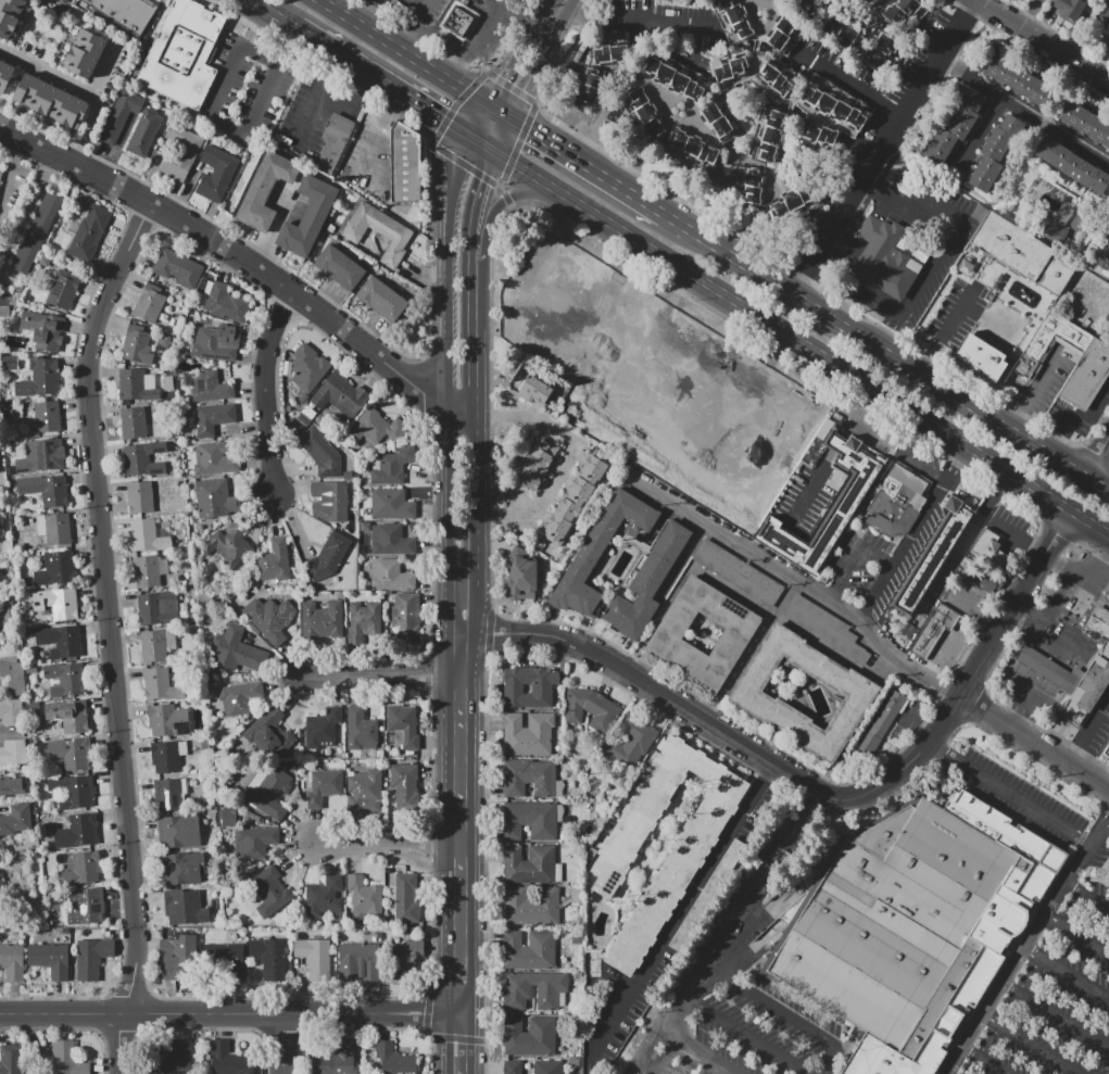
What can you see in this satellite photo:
road: (496, 3)
road: (556, 3)
road: (563, 3)
building: (806, 3)
building: (869, 3)
building: (1068, 9)
building: (1105, 10)
road: (363, 11)
building: (126, 12)
building: (903, 14)
building: (10, 15)
road: (269, 15)
road: (553, 20)
building: (730, 20)
building: (459, 21)
road: (489, 21)
road: (409, 23)
road: (653, 26)
road: (367, 28)
road: (433, 28)
building: (781, 30)
building: (840, 31)
building: (1107, 33)
road: (1045, 39)
road: (585, 41)
building: (609, 49)
building: (882, 51)
building: (181, 52)
building: (87, 54)
road: (345, 62)
road: (509, 62)
building: (730, 65)
building: (5, 74)
traffic signals: (501, 76)
building: (672, 76)
building: (778, 76)
building: (1015, 76)
road: (533, 77)
road: (853, 84)
building: (589, 86)
road: (85, 88)
road: (462, 88)
road: (315, 98)
building: (54, 102)
building: (834, 102)
road: (1026, 105)
building: (642, 112)
road: (428, 113)
building: (965, 113)
building: (119, 114)
building: (718, 118)
road: (224, 119)
building: (1086, 121)
traffic signals: (441, 122)
traffic signals: (529, 130)
building: (143, 132)
building: (819, 132)
building: (769, 134)
road: (980, 134)
road: (501, 136)
road: (371, 140)
building: (333, 142)
road: (884, 143)
building: (999, 143)
building: (941, 146)
road: (556, 147)
building: (692, 150)
building: (180, 152)
building: (405, 164)
building: (1072, 164)
road: (454, 169)
road: (520, 169)
building: (216, 174)
building: (986, 174)
building: (1, 177)
traffic signals: (483, 181)
building: (749, 184)
building: (266, 188)
road: (633, 193)
road: (506, 197)
building: (792, 202)
road: (476, 205)
building: (308, 216)
road: (141, 222)
building: (1049, 229)
building: (37, 231)
building: (377, 231)
building: (88, 232)
road: (940, 250)
building: (1101, 252)
road: (234, 253)
building: (1015, 254)
building: (885, 258)
building: (177, 267)
building: (340, 267)
building: (63, 289)
road: (474, 292)
road: (2, 299)
building: (381, 299)
building: (150, 303)
building: (225, 303)
building: (3, 312)
road: (299, 316)
road: (450, 325)
road: (947, 328)
road: (889, 329)
building: (50, 333)
building: (1049, 341)
building: (137, 343)
building: (213, 345)
road: (886, 352)
building: (978, 356)
building: (9, 362)
road: (421, 362)
building: (308, 367)
road: (474, 367)
road: (844, 368)
building: (1087, 375)
building: (39, 378)
building: (167, 382)
building: (138, 386)
building: (206, 386)
road: (263, 388)
building: (535, 389)
road: (1030, 393)
building: (339, 394)
road: (463, 408)
road: (855, 412)
building: (48, 417)
building: (210, 418)
building: (133, 422)
building: (375, 427)
road: (835, 442)
building: (320, 453)
road: (1092, 454)
road: (1095, 455)
building: (41, 456)
road: (569, 457)
building: (214, 458)
building: (136, 459)
road: (952, 462)
building: (537, 464)
building: (391, 465)
road: (923, 467)
road: (451, 478)
road: (476, 480)
road: (811, 484)
building: (46, 490)
building: (852, 495)
building: (140, 497)
building: (214, 498)
building: (574, 500)
building: (330, 501)
building: (897, 502)
building: (391, 504)
building: (55, 528)
road: (1058, 532)
building: (148, 534)
building: (0, 535)
building: (391, 540)
road: (965, 543)
building: (230, 544)
building: (985, 544)
road: (902, 548)
road: (1093, 548)
building: (598, 551)
building: (328, 556)
road: (854, 556)
building: (933, 557)
building: (276, 560)
road: (1098, 560)
road: (467, 566)
road: (455, 567)
building: (55, 569)
building: (149, 570)
road: (1076, 570)
building: (736, 572)
building: (390, 576)
building: (521, 576)
building: (982, 580)
building: (646, 582)
road: (91, 584)
road: (1059, 595)
building: (1107, 597)
building: (56, 603)
road: (1016, 603)
building: (156, 608)
road: (849, 608)
road: (1028, 609)
building: (8, 612)
building: (270, 618)
building: (1100, 621)
gas station: (1100, 621)
building: (323, 622)
building: (363, 622)
building: (405, 622)
building: (824, 627)
building: (933, 630)
building: (668, 633)
road: (110, 634)
road: (1051, 637)
road: (1036, 639)
building: (65, 642)
road: (1045, 644)
building: (157, 645)
road: (751, 648)
building: (236, 650)
road: (1061, 654)
road: (1026, 655)
road: (1070, 659)
road: (1035, 661)
building: (1049, 669)
road: (1015, 671)
road: (1051, 671)
building: (13, 675)
road: (382, 675)
road: (1060, 675)
building: (64, 680)
road: (1022, 680)
road: (1070, 682)
road: (1029, 683)
building: (160, 684)
road: (1038, 688)
building: (541, 690)
road: (1043, 692)
building: (1087, 692)
building: (859, 693)
road: (1048, 695)
building: (240, 697)
road: (971, 700)
building: (590, 708)
building: (10, 711)
building: (70, 715)
building: (167, 720)
building: (884, 720)
building: (400, 726)
road: (1043, 726)
building: (324, 728)
building: (361, 730)
building: (267, 731)
road: (1088, 731)
road: (8, 733)
building: (528, 734)
road: (728, 734)
building: (634, 738)
building: (13, 751)
building: (1106, 751)
building: (71, 753)
building: (167, 755)
building: (529, 776)
building: (12, 785)
building: (324, 785)
building: (364, 785)
building: (405, 785)
building: (74, 792)
building: (267, 792)
road: (1010, 793)
building: (167, 795)
road: (462, 796)
parking lot: (1024, 801)
building: (227, 817)
building: (16, 820)
building: (530, 820)
building: (704, 825)
building: (178, 831)
building: (78, 832)
building: (254, 842)
road: (389, 844)
building: (529, 863)
building: (81, 868)
building: (182, 868)
building: (1106, 879)
building: (0, 885)
building: (268, 890)
road: (1085, 894)
building: (324, 897)
building: (365, 899)
building: (407, 899)
building: (531, 906)
building: (87, 907)
building: (184, 908)
road: (683, 909)
building: (916, 926)
road: (1076, 933)
road: (727, 934)
road: (1023, 944)
building: (529, 950)
building: (313, 952)
building: (91, 957)
building: (179, 957)
building: (402, 959)
building: (50, 960)
building: (269, 961)
building: (358, 961)
building: (11, 962)
building: (230, 962)
road: (1066, 972)
road: (131, 997)
parking lot: (1050, 997)
road: (387, 999)
building: (518, 1000)
road: (230, 1013)
road: (785, 1014)
road: (1055, 1016)
road: (752, 1034)
building: (530, 1037)
road: (285, 1043)
road: (462, 1043)
road: (1031, 1043)
road: (706, 1047)
building: (11, 1059)
building: (66, 1059)
building: (176, 1059)
road: (984, 1059)
building: (229, 1060)
building: (337, 1060)
building: (394, 1060)
building: (547, 1066)
road: (652, 1066)
building: (512, 1067)
road: (735, 1071)

